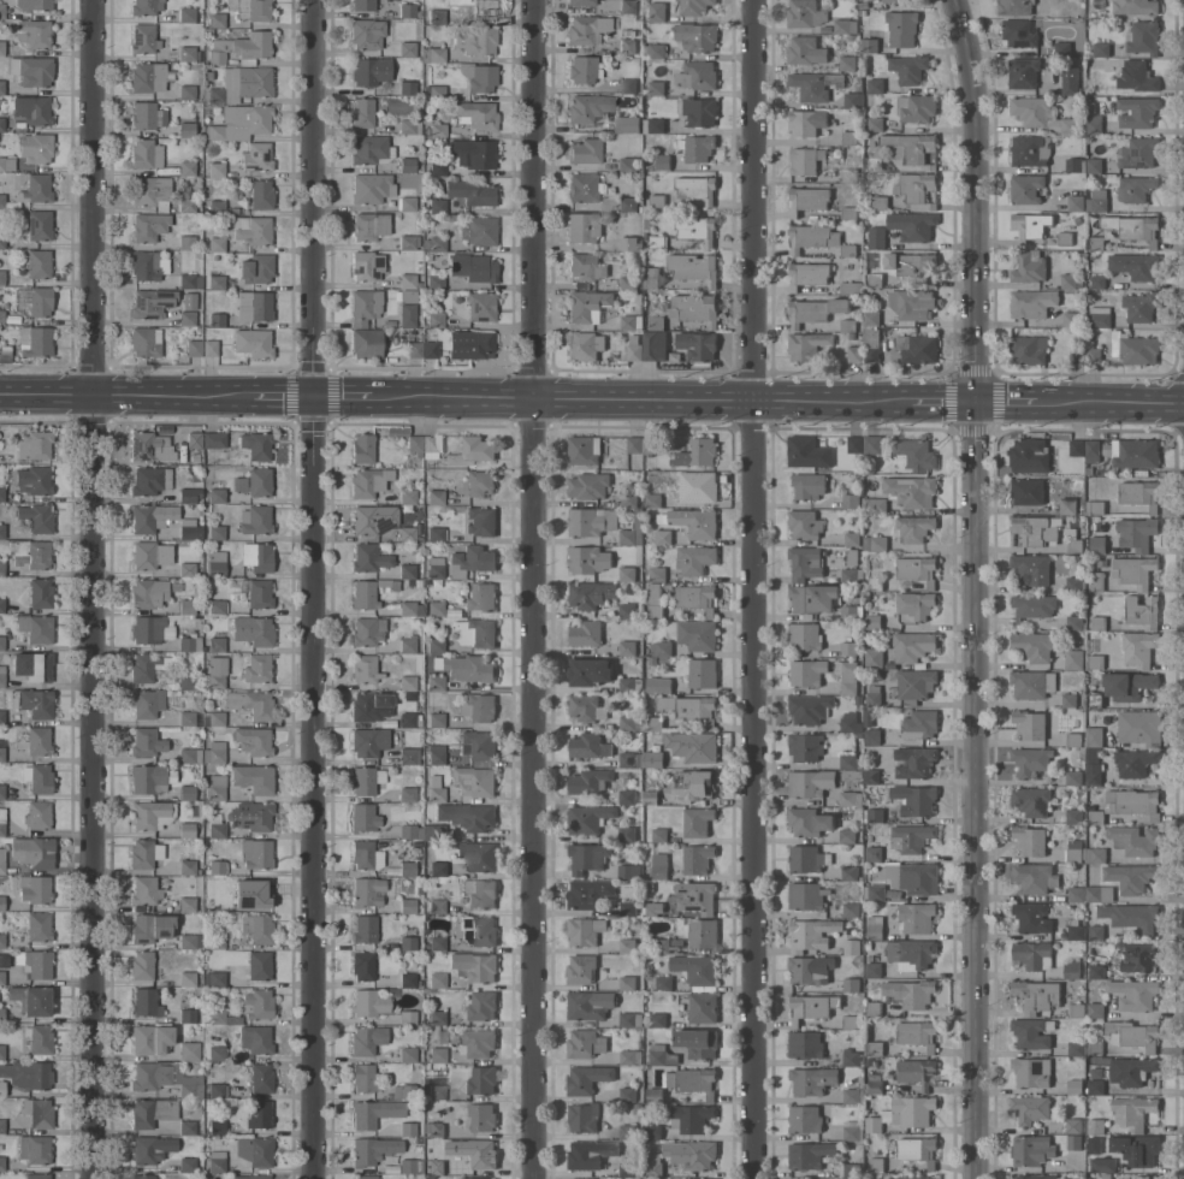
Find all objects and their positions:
building: (886, 0)
building: (581, 2)
building: (30, 5)
building: (363, 5)
building: (628, 6)
building: (694, 6)
building: (1016, 6)
building: (1137, 6)
building: (146, 7)
building: (251, 8)
building: (484, 8)
building: (2, 11)
building: (407, 11)
building: (658, 11)
building: (863, 11)
building: (805, 13)
building: (187, 16)
building: (437, 17)
building: (217, 20)
building: (846, 25)
building: (901, 28)
building: (586, 30)
building: (1020, 31)
building: (208, 32)
building: (32, 34)
building: (363, 35)
building: (697, 35)
building: (1144, 36)
building: (143, 38)
building: (474, 40)
building: (871, 45)
building: (627, 46)
building: (2, 48)
building: (241, 48)
building: (1062, 48)
building: (1102, 48)
building: (407, 49)
building: (806, 49)
building: (655, 51)
building: (187, 54)
building: (434, 55)
building: (870, 55)
building: (847, 63)
building: (910, 67)
building: (584, 70)
building: (31, 71)
building: (371, 71)
building: (1024, 72)
building: (698, 75)
building: (1137, 76)
building: (148, 77)
building: (479, 77)
building: (241, 84)
building: (628, 84)
building: (815, 84)
building: (876, 84)
building: (1, 87)
building: (1071, 87)
building: (407, 88)
building: (657, 88)
building: (187, 93)
building: (437, 93)
building: (638, 96)
building: (852, 99)
building: (916, 107)
building: (1091, 107)
building: (588, 108)
building: (698, 109)
building: (32, 111)
building: (1035, 111)
building: (1138, 111)
building: (362, 113)
building: (147, 115)
building: (476, 115)
building: (806, 122)
building: (241, 123)
building: (627, 123)
building: (875, 123)
building: (1, 124)
building: (1095, 124)
building: (655, 125)
building: (1068, 125)
building: (409, 126)
building: (187, 130)
building: (436, 131)
building: (849, 137)
building: (698, 147)
building: (912, 147)
building: (36, 148)
building: (1030, 149)
building: (372, 150)
building: (585, 152)
building: (1139, 152)
building: (473, 153)
building: (146, 154)
building: (875, 156)
building: (256, 158)
building: (805, 160)
building: (663, 161)
building: (628, 164)
building: (1075, 164)
building: (7, 165)
building: (407, 165)
building: (1093, 165)
building: (187, 168)
building: (438, 168)
building: (217, 170)
building: (853, 174)
building: (585, 188)
building: (697, 188)
building: (918, 188)
building: (1026, 188)
building: (1136, 188)
building: (37, 189)
building: (372, 189)
building: (152, 192)
building: (470, 192)
building: (261, 195)
building: (807, 199)
building: (657, 200)
building: (1097, 200)
building: (2, 202)
building: (880, 202)
building: (1076, 202)
building: (629, 203)
building: (187, 205)
building: (408, 205)
building: (437, 206)
building: (217, 207)
building: (849, 212)
building: (1078, 219)
building: (647, 223)
building: (40, 225)
building: (913, 225)
building: (1030, 225)
building: (369, 226)
building: (584, 227)
building: (697, 227)
building: (1133, 227)
building: (147, 229)
building: (253, 231)
building: (479, 231)
building: (811, 237)
building: (877, 237)
building: (1065, 237)
building: (2, 241)
building: (657, 241)
building: (187, 242)
building: (408, 242)
building: (434, 243)
building: (631, 243)
building: (217, 244)
building: (849, 250)
building: (39, 263)
building: (1136, 265)
building: (144, 266)
building: (362, 266)
building: (587, 266)
building: (917, 266)
building: (694, 267)
building: (1030, 267)
building: (473, 268)
building: (256, 269)
building: (809, 274)
building: (651, 277)
building: (2, 278)
building: (876, 279)
building: (1072, 280)
building: (1099, 280)
building: (190, 282)
building: (409, 282)
building: (628, 282)
building: (217, 283)
building: (436, 283)
building: (852, 288)
building: (407, 296)
building: (41, 301)
building: (189, 301)
building: (1032, 302)
building: (150, 303)
building: (916, 303)
building: (254, 306)
building: (591, 306)
building: (1141, 306)
building: (363, 307)
building: (481, 307)
building: (695, 308)
building: (816, 309)
building: (407, 315)
building: (1100, 316)
building: (1, 318)
building: (872, 318)
building: (187, 319)
building: (1075, 319)
building: (217, 320)
building: (436, 320)
building: (657, 321)
building: (633, 322)
building: (848, 325)
building: (852, 334)
building: (35, 342)
building: (146, 342)
building: (253, 343)
building: (367, 344)
building: (470, 344)
building: (586, 344)
building: (698, 344)
building: (872, 344)
building: (656, 345)
building: (807, 345)
building: (209, 348)
building: (634, 348)
building: (917, 348)
building: (1029, 348)
building: (1136, 348)
building: (194, 349)
building: (414, 350)
building: (431, 350)
building: (856, 352)
building: (1078, 355)
building: (1094, 355)
road: (128, 397)
road: (283, 398)
road: (344, 398)
road: (643, 399)
road: (942, 401)
traffic signals: (977, 402)
road: (1010, 402)
road: (1113, 402)
building: (194, 440)
building: (214, 440)
building: (651, 443)
building: (415, 444)
building: (635, 444)
building: (856, 444)
building: (874, 444)
building: (34, 445)
building: (256, 445)
building: (433, 445)
building: (150, 446)
building: (1078, 446)
building: (362, 449)
building: (585, 449)
building: (803, 450)
building: (1094, 450)
building: (472, 451)
building: (698, 452)
building: (1032, 452)
building: (1136, 452)
building: (913, 454)
building: (195, 458)
building: (1090, 469)
building: (647, 474)
building: (195, 478)
building: (150, 480)
building: (32, 481)
building: (255, 482)
building: (369, 482)
building: (478, 482)
building: (590, 485)
building: (700, 485)
building: (810, 485)
building: (912, 490)
building: (1031, 490)
building: (217, 492)
building: (1139, 492)
building: (2, 494)
building: (189, 494)
building: (407, 497)
building: (436, 497)
building: (629, 498)
building: (653, 499)
building: (852, 500)
building: (876, 504)
building: (1068, 504)
building: (1095, 506)
building: (37, 517)
building: (150, 517)
building: (663, 517)
building: (374, 519)
building: (255, 520)
building: (481, 521)
building: (586, 521)
building: (695, 521)
building: (1090, 521)
building: (805, 523)
building: (914, 526)
building: (189, 529)
building: (634, 529)
building: (1036, 529)
building: (2, 532)
building: (1137, 532)
building: (217, 533)
building: (407, 533)
building: (436, 534)
building: (664, 537)
building: (853, 538)
building: (1073, 540)
building: (876, 541)
building: (1099, 541)
building: (31, 555)
building: (150, 555)
building: (853, 556)
building: (257, 557)
building: (372, 557)
building: (590, 558)
building: (695, 558)
building: (472, 561)
building: (806, 562)
building: (215, 564)
building: (1031, 567)
building: (2, 568)
building: (434, 568)
building: (918, 568)
building: (1135, 569)
building: (187, 570)
building: (407, 571)
building: (628, 573)
building: (657, 573)
building: (852, 574)
building: (1096, 580)
building: (874, 582)
building: (389, 583)
building: (419, 583)
building: (1075, 583)
road: (309, 588)
road: (535, 588)
road: (757, 588)
road: (976, 588)
road: (87, 589)
building: (257, 592)
building: (41, 593)
building: (148, 593)
building: (584, 594)
building: (363, 596)
building: (481, 596)
building: (697, 597)
building: (813, 597)
building: (215, 600)
building: (655, 600)
building: (914, 604)
building: (1034, 605)
building: (1, 606)
building: (187, 608)
building: (409, 609)
building: (436, 609)
building: (631, 609)
building: (1143, 610)
building: (849, 611)
building: (875, 621)
building: (1075, 622)
building: (1099, 622)
building: (36, 628)
building: (150, 629)
building: (256, 630)
building: (368, 632)
building: (476, 632)
building: (586, 633)
building: (695, 634)
building: (805, 635)
building: (217, 641)
building: (2, 642)
building: (190, 642)
building: (913, 644)
building: (408, 645)
building: (1034, 645)
building: (436, 646)
building: (1139, 646)
building: (628, 647)
building: (849, 647)
building: (662, 650)
building: (875, 657)
building: (1075, 659)
building: (1096, 660)
building: (34, 666)
building: (142, 668)
building: (469, 668)
building: (257, 669)
building: (365, 669)
building: (586, 669)
building: (807, 671)
building: (215, 673)
building: (703, 673)
building: (2, 676)
building: (848, 676)
building: (187, 681)
building: (407, 682)
building: (436, 682)
building: (913, 682)
building: (1032, 682)
building: (631, 683)
building: (659, 685)
building: (1129, 685)
building: (875, 698)
building: (859, 699)
building: (1070, 699)
building: (1094, 699)
building: (1085, 700)
building: (34, 703)
building: (147, 704)
building: (251, 704)
building: (371, 706)
building: (479, 706)
building: (587, 706)
building: (689, 706)
building: (810, 707)
building: (1, 717)
building: (190, 718)
building: (217, 718)
building: (409, 719)
building: (436, 721)
building: (631, 722)
building: (655, 722)
building: (851, 722)
building: (922, 722)
building: (1030, 723)
building: (1141, 725)
building: (858, 734)
building: (872, 735)
building: (1095, 736)
building: (1073, 737)
building: (36, 741)
building: (254, 741)
building: (147, 742)
building: (369, 742)
building: (479, 745)
building: (590, 745)
building: (701, 746)
building: (806, 746)
building: (1, 751)
building: (214, 752)
building: (436, 754)
building: (189, 756)
building: (409, 757)
building: (651, 758)
building: (632, 759)
building: (664, 759)
building: (1031, 759)
building: (851, 760)
building: (1136, 760)
building: (916, 762)
building: (1094, 765)
building: (851, 774)
building: (872, 776)
building: (1073, 777)
building: (39, 778)
building: (150, 778)
building: (254, 778)
building: (368, 780)
building: (474, 781)
building: (591, 781)
building: (811, 782)
building: (698, 783)
building: (215, 788)
building: (2, 792)
building: (188, 793)
building: (408, 794)
building: (437, 795)
building: (627, 796)
building: (651, 796)
building: (851, 798)
building: (916, 799)
building: (1034, 800)
building: (1127, 804)
building: (152, 814)
building: (876, 814)
building: (1075, 814)
building: (37, 816)
building: (250, 816)
building: (468, 816)
building: (363, 818)
building: (590, 818)
building: (698, 820)
building: (810, 820)
building: (1, 825)
building: (215, 827)
building: (187, 829)
building: (410, 831)
building: (434, 833)
building: (627, 833)
building: (661, 834)
building: (848, 835)
building: (912, 836)
building: (1135, 839)
building: (1030, 840)
building: (1076, 849)
building: (31, 852)
building: (144, 853)
building: (874, 853)
building: (256, 854)
building: (1097, 854)
building: (366, 855)
building: (478, 855)
building: (588, 857)
building: (698, 858)
building: (807, 858)
building: (1, 861)
building: (187, 866)
building: (659, 866)
building: (217, 867)
building: (407, 869)
building: (437, 869)
building: (629, 870)
building: (849, 871)
building: (199, 872)
building: (1131, 876)
building: (914, 877)
building: (1035, 877)
building: (34, 889)
building: (146, 890)
building: (419, 890)
building: (257, 891)
building: (367, 891)
building: (876, 891)
building: (480, 893)
building: (590, 893)
building: (1077, 893)
building: (1100, 893)
building: (807, 895)
building: (698, 896)
building: (1, 903)
building: (187, 905)
building: (217, 905)
building: (408, 906)
building: (437, 907)
building: (628, 908)
building: (651, 908)
building: (851, 908)
building: (1130, 914)
building: (917, 917)
building: (1034, 917)
building: (875, 926)
building: (39, 928)
building: (150, 928)
building: (257, 929)
building: (365, 929)
building: (476, 930)
building: (585, 930)
building: (1077, 931)
building: (1097, 931)
building: (704, 932)
building: (811, 934)
building: (1, 941)
building: (214, 941)
building: (187, 942)
building: (407, 943)
building: (436, 943)
building: (1120, 943)
building: (629, 944)
building: (868, 944)
building: (669, 946)
building: (853, 946)
building: (912, 953)
building: (1034, 954)
building: (1139, 956)
building: (4, 960)
building: (37, 965)
building: (142, 966)
building: (259, 966)
building: (362, 966)
building: (476, 966)
building: (697, 967)
building: (581, 968)
building: (874, 968)
building: (1072, 968)
building: (805, 970)
building: (1096, 971)
building: (854, 973)
building: (1, 978)
building: (187, 979)
building: (217, 979)
building: (408, 980)
building: (437, 980)
building: (628, 982)
building: (664, 983)
building: (852, 984)
building: (918, 994)
building: (1135, 994)
building: (1037, 995)
building: (31, 1000)
building: (146, 1003)
building: (257, 1005)
building: (483, 1005)
building: (585, 1006)
building: (811, 1006)
building: (378, 1007)
building: (704, 1007)
building: (875, 1007)
building: (1077, 1009)
building: (1096, 1009)
building: (1, 1015)
building: (187, 1017)
building: (220, 1017)
building: (437, 1018)
building: (631, 1019)
building: (658, 1019)
building: (851, 1021)
building: (1034, 1032)
building: (917, 1033)
building: (442, 1035)
building: (1132, 1035)
building: (39, 1038)
building: (150, 1039)
building: (255, 1039)
building: (367, 1039)
building: (479, 1042)
building: (698, 1042)
building: (586, 1043)
building: (806, 1044)
building: (874, 1047)
building: (1096, 1047)
building: (1077, 1048)
building: (189, 1051)
building: (1, 1053)
building: (217, 1054)
building: (407, 1054)
building: (662, 1054)
building: (438, 1056)
building: (631, 1056)
building: (851, 1056)
building: (1132, 1070)
building: (433, 1071)
building: (917, 1071)
building: (1032, 1071)
building: (28, 1074)
building: (165, 1078)
building: (261, 1078)
building: (363, 1078)
building: (587, 1078)
building: (483, 1079)
building: (812, 1079)
building: (692, 1080)
building: (875, 1083)
building: (1076, 1086)
building: (1096, 1086)
building: (2, 1089)
building: (217, 1091)
building: (403, 1091)
building: (437, 1092)
building: (628, 1094)
building: (656, 1095)
building: (853, 1095)
building: (638, 1108)
building: (1031, 1109)
building: (1133, 1110)
building: (39, 1113)
building: (152, 1113)
building: (375, 1113)
building: (905, 1113)
building: (259, 1115)
building: (1095, 1115)
building: (483, 1116)
building: (584, 1116)
building: (692, 1116)
building: (805, 1119)
building: (1073, 1125)
building: (2, 1126)
building: (187, 1127)
building: (217, 1128)
building: (408, 1128)
building: (437, 1130)
building: (853, 1130)
building: (628, 1131)
building: (653, 1131)
building: (1070, 1141)
building: (1137, 1147)
building: (34, 1149)
building: (152, 1149)
building: (640, 1149)
building: (918, 1149)
building: (1032, 1149)
building: (373, 1150)
building: (261, 1153)
building: (483, 1153)
building: (586, 1154)
building: (809, 1154)
building: (699, 1155)
building: (217, 1163)
building: (655, 1163)
building: (875, 1163)
building: (1102, 1163)
building: (1, 1165)
building: (187, 1166)
building: (412, 1166)
building: (434, 1166)
building: (632, 1168)
building: (852, 1169)
building: (1107, 1175)
building: (37, 1177)
building: (142, 1177)
building: (257, 1177)
building: (366, 1177)
building: (430, 1177)
building: (1036, 1177)
building: (1148, 1177)
building: (475, 1178)
building: (584, 1178)
building: (704, 1178)
building: (918, 1178)

